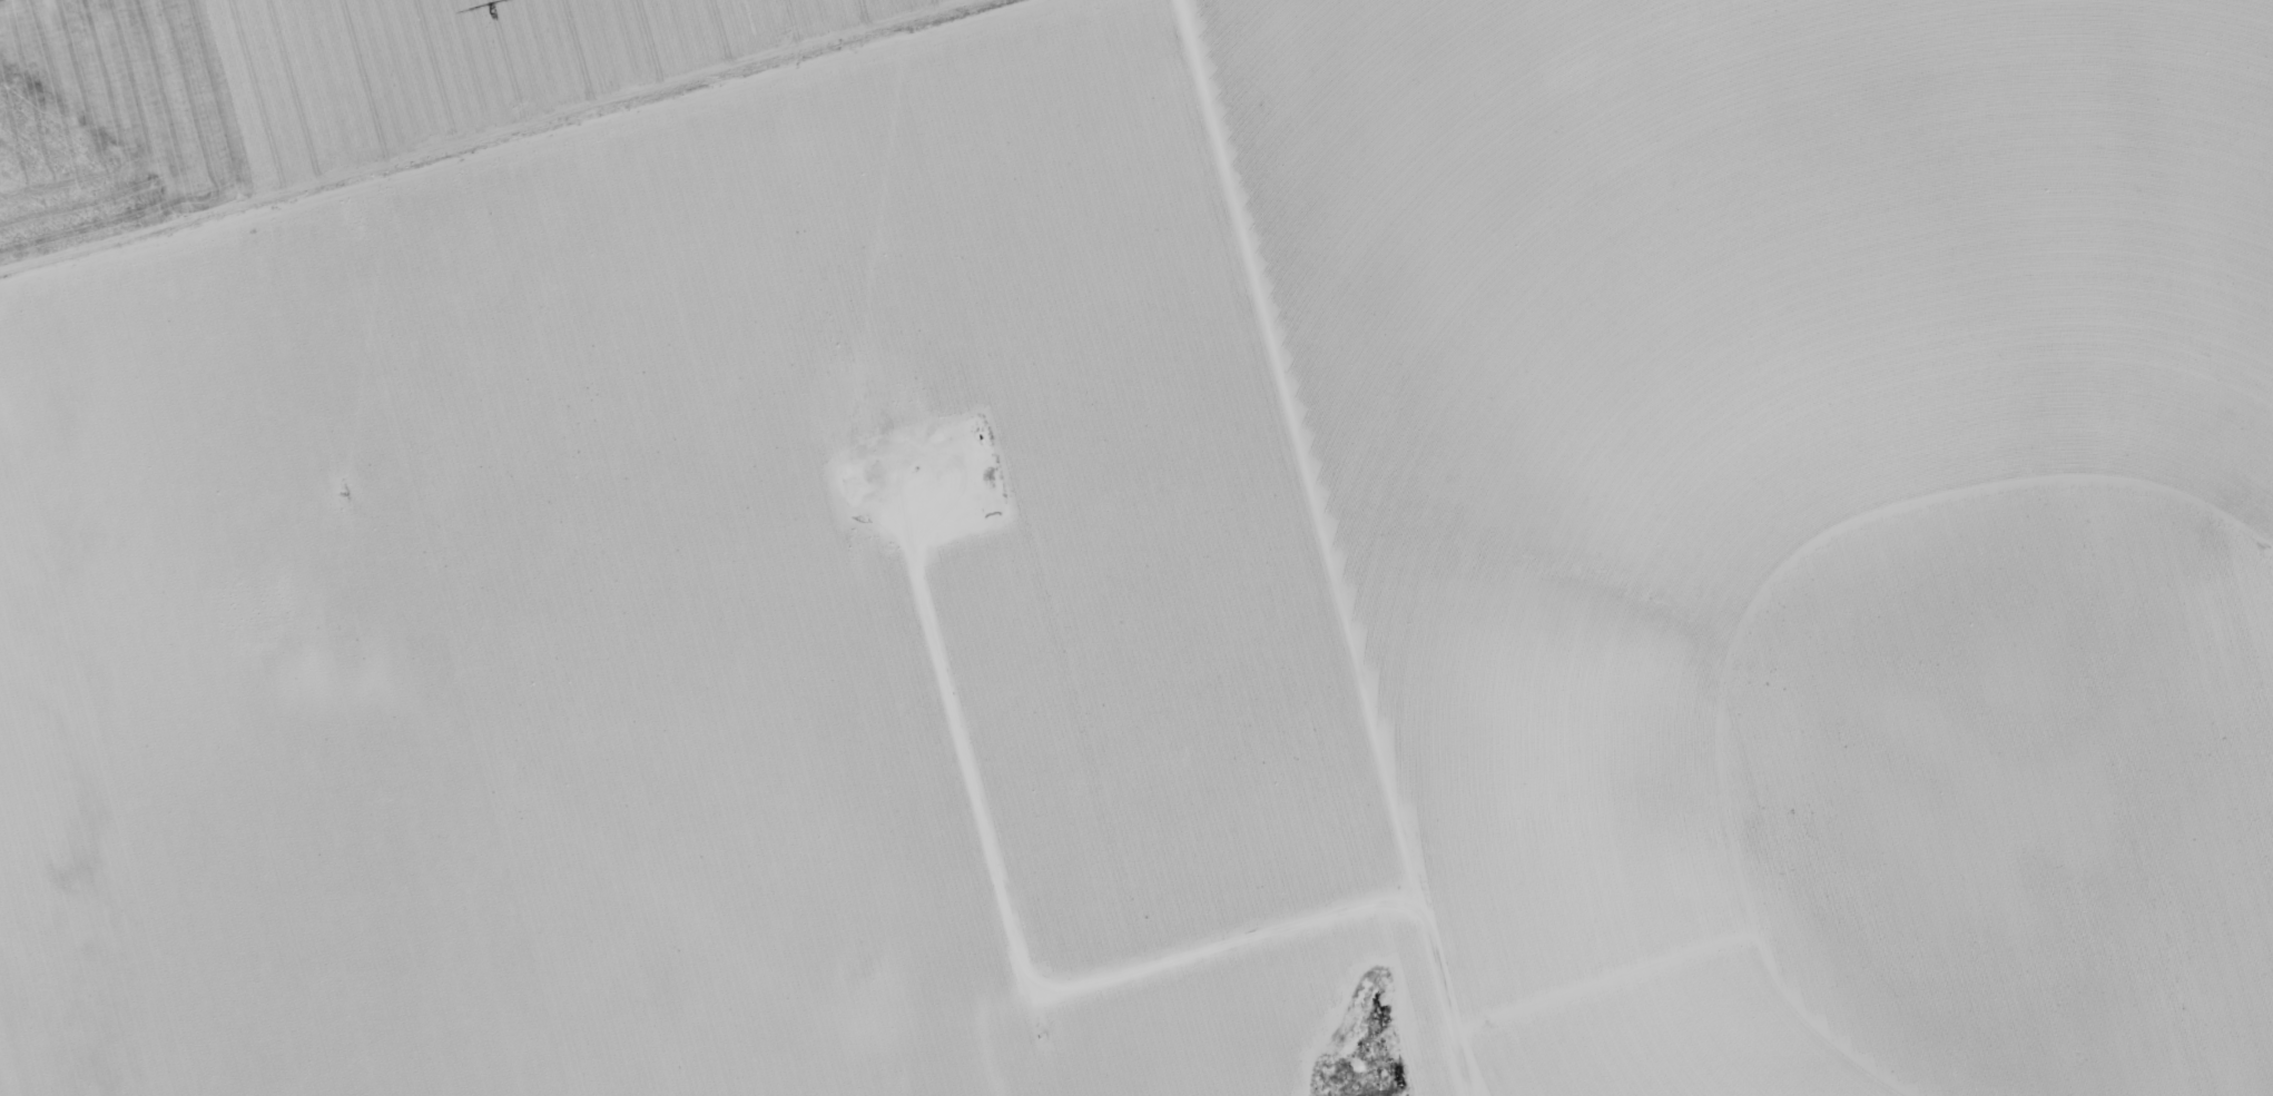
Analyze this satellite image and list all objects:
road: (1305, 551)
road: (880, 1007)

